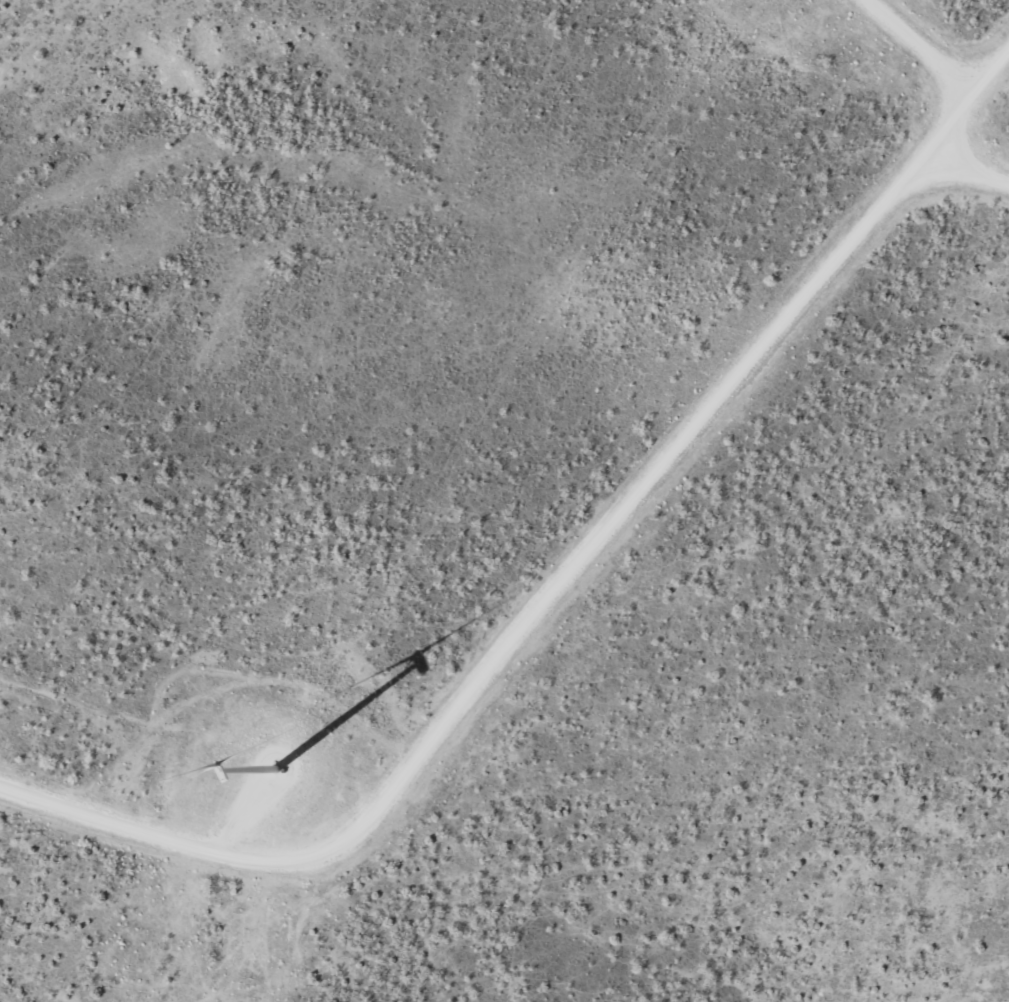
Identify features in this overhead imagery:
wind turbine: (277, 770)

